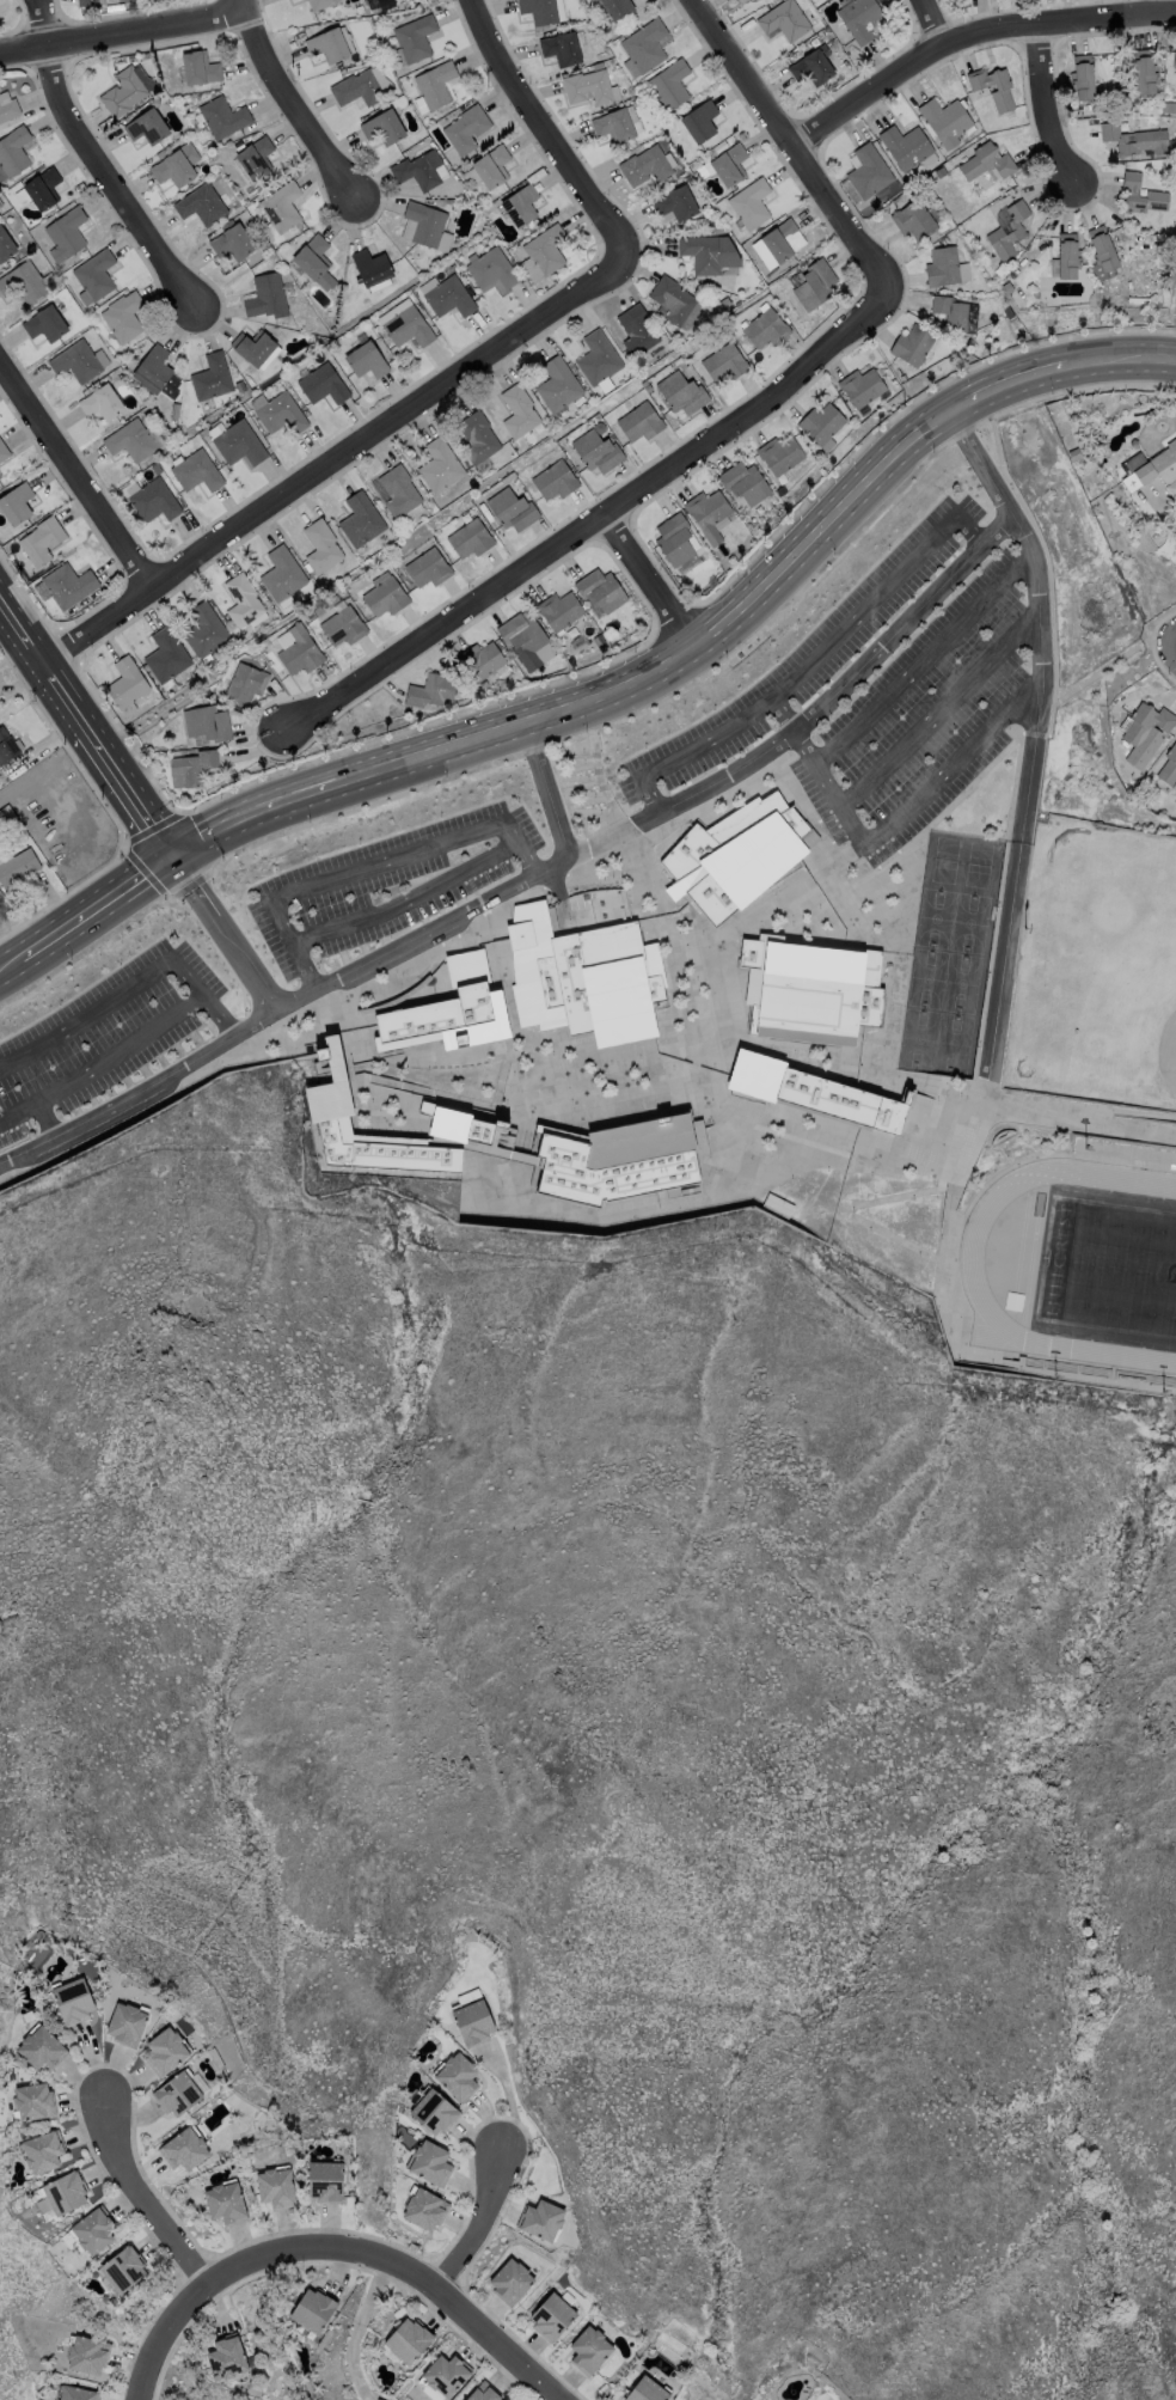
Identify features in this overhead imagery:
building: (754, 0)
building: (86, 2)
road: (243, 4)
building: (319, 4)
road: (1169, 4)
building: (617, 7)
building: (538, 11)
road: (939, 17)
building: (858, 18)
building: (783, 20)
road: (122, 29)
road: (970, 29)
building: (414, 37)
building: (327, 44)
building: (644, 47)
building: (561, 48)
building: (1174, 61)
building: (811, 67)
building: (200, 68)
building: (1144, 72)
building: (1082, 75)
building: (435, 84)
building: (669, 84)
building: (356, 87)
building: (587, 87)
building: (998, 91)
building: (123, 92)
road: (304, 98)
road: (1052, 106)
building: (10, 111)
building: (222, 117)
building: (699, 121)
building: (945, 121)
building: (613, 126)
building: (146, 127)
building: (382, 127)
road: (544, 127)
building: (466, 128)
road: (794, 135)
building: (1133, 140)
building: (905, 146)
building: (13, 151)
building: (255, 157)
road: (100, 159)
building: (985, 160)
building: (728, 164)
building: (176, 165)
building: (491, 166)
building: (644, 166)
building: (417, 170)
building: (868, 171)
building: (42, 188)
building: (1156, 194)
building: (200, 203)
building: (675, 203)
building: (749, 203)
building: (520, 204)
building: (281, 206)
building: (913, 220)
building: (424, 222)
building: (1009, 231)
building: (65, 233)
building: (783, 239)
building: (231, 240)
building: (6, 246)
building: (545, 249)
building: (1101, 252)
building: (708, 254)
building: (1067, 256)
building: (314, 261)
building: (370, 267)
building: (944, 267)
building: (491, 271)
building: (94, 274)
building: (23, 282)
building: (814, 285)
building: (265, 295)
building: (448, 297)
building: (670, 300)
building: (955, 313)
building: (122, 317)
building: (44, 323)
building: (406, 326)
building: (765, 328)
building: (636, 329)
building: (912, 344)
building: (253, 347)
building: (596, 358)
building: (366, 360)
building: (75, 361)
building: (723, 362)
building: (158, 371)
road: (1028, 372)
building: (210, 377)
building: (323, 384)
building: (557, 384)
building: (860, 386)
building: (681, 392)
building: (100, 402)
building: (278, 411)
building: (517, 411)
building: (639, 422)
building: (821, 423)
building: (477, 438)
building: (129, 440)
building: (238, 444)
building: (595, 451)
building: (4, 452)
building: (779, 454)
road: (336, 456)
building: (439, 465)
road: (79, 466)
building: (1166, 468)
building: (196, 471)
building: (555, 481)
building: (743, 482)
building: (398, 491)
building: (153, 500)
building: (16, 503)
building: (512, 509)
building: (708, 513)
road: (599, 515)
building: (360, 520)
road: (996, 529)
building: (470, 538)
building: (673, 538)
building: (41, 539)
building: (320, 545)
building: (427, 568)
building: (282, 573)
road: (650, 579)
building: (67, 585)
building: (600, 590)
building: (385, 597)
building: (241, 599)
road: (2, 600)
building: (558, 610)
building: (342, 627)
building: (204, 630)
road: (1170, 634)
road: (888, 637)
building: (522, 639)
road: (1170, 646)
building: (299, 651)
building: (165, 654)
road: (921, 657)
building: (479, 659)
road: (807, 662)
building: (125, 683)
building: (245, 683)
road: (1088, 683)
parking lot: (877, 685)
building: (430, 690)
road: (568, 706)
road: (938, 706)
road: (783, 709)
road: (86, 721)
building: (1162, 721)
building: (207, 723)
road: (1030, 733)
building: (6, 746)
road: (47, 764)
building: (192, 767)
building: (1169, 769)
road: (849, 810)
road: (608, 837)
building: (4, 855)
building: (736, 855)
road: (368, 865)
building: (17, 868)
parking lot: (390, 891)
building: (0, 893)
road: (408, 899)
road: (85, 912)
road: (223, 932)
park: (949, 954)
park: (1100, 959)
road: (342, 975)
building: (583, 977)
road: (128, 987)
building: (809, 990)
building: (449, 1019)
parking lot: (104, 1036)
road: (121, 1051)
building: (814, 1092)
building: (327, 1100)
road: (35, 1103)
building: (458, 1124)
building: (619, 1161)
track: (1086, 1263)
track: (1077, 1264)
park: (1108, 1265)
track: (973, 1271)
building: (73, 2001)
building: (472, 2019)
building: (127, 2023)
building: (42, 2048)
building: (166, 2052)
building: (457, 2077)
building: (177, 2094)
building: (33, 2102)
building: (434, 2113)
building: (185, 2150)
building: (42, 2152)
building: (430, 2163)
building: (326, 2182)
building: (276, 2187)
building: (66, 2194)
road: (145, 2199)
building: (225, 2203)
building: (424, 2210)
building: (541, 2221)
road: (483, 2225)
building: (93, 2231)
road: (338, 2249)
building: (123, 2270)
building: (510, 2280)
building: (314, 2310)
building: (551, 2317)
road: (357, 2328)
building: (406, 2341)
building: (589, 2350)
building: (87, 2356)
building: (226, 2357)
building: (443, 2377)
building: (647, 2390)
building: (483, 2393)
building: (76, 2394)

